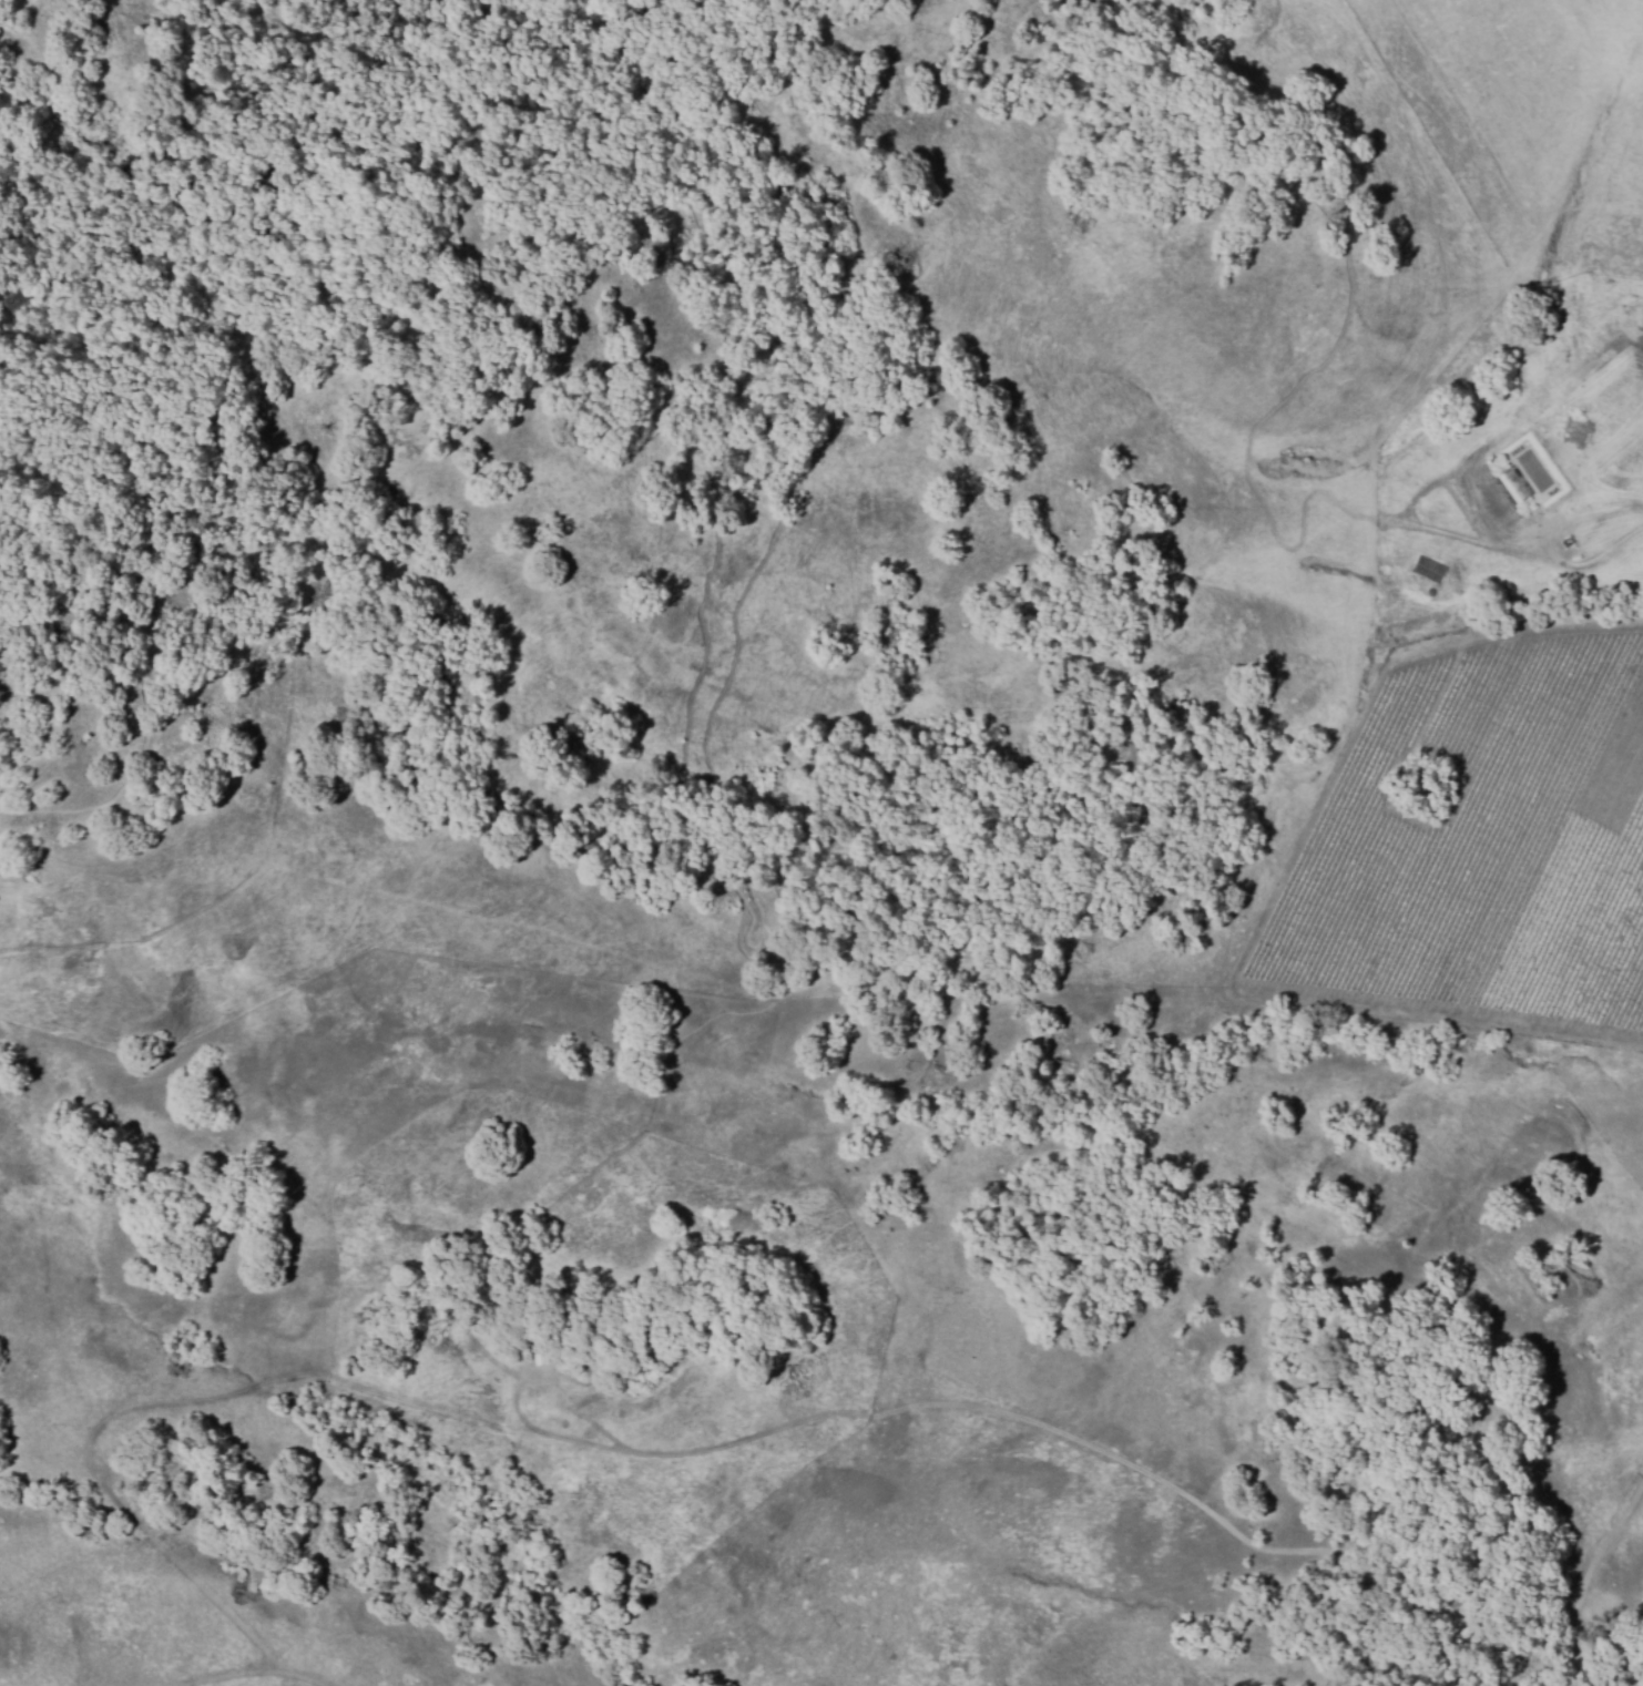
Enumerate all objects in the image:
road: (1551, 549)

